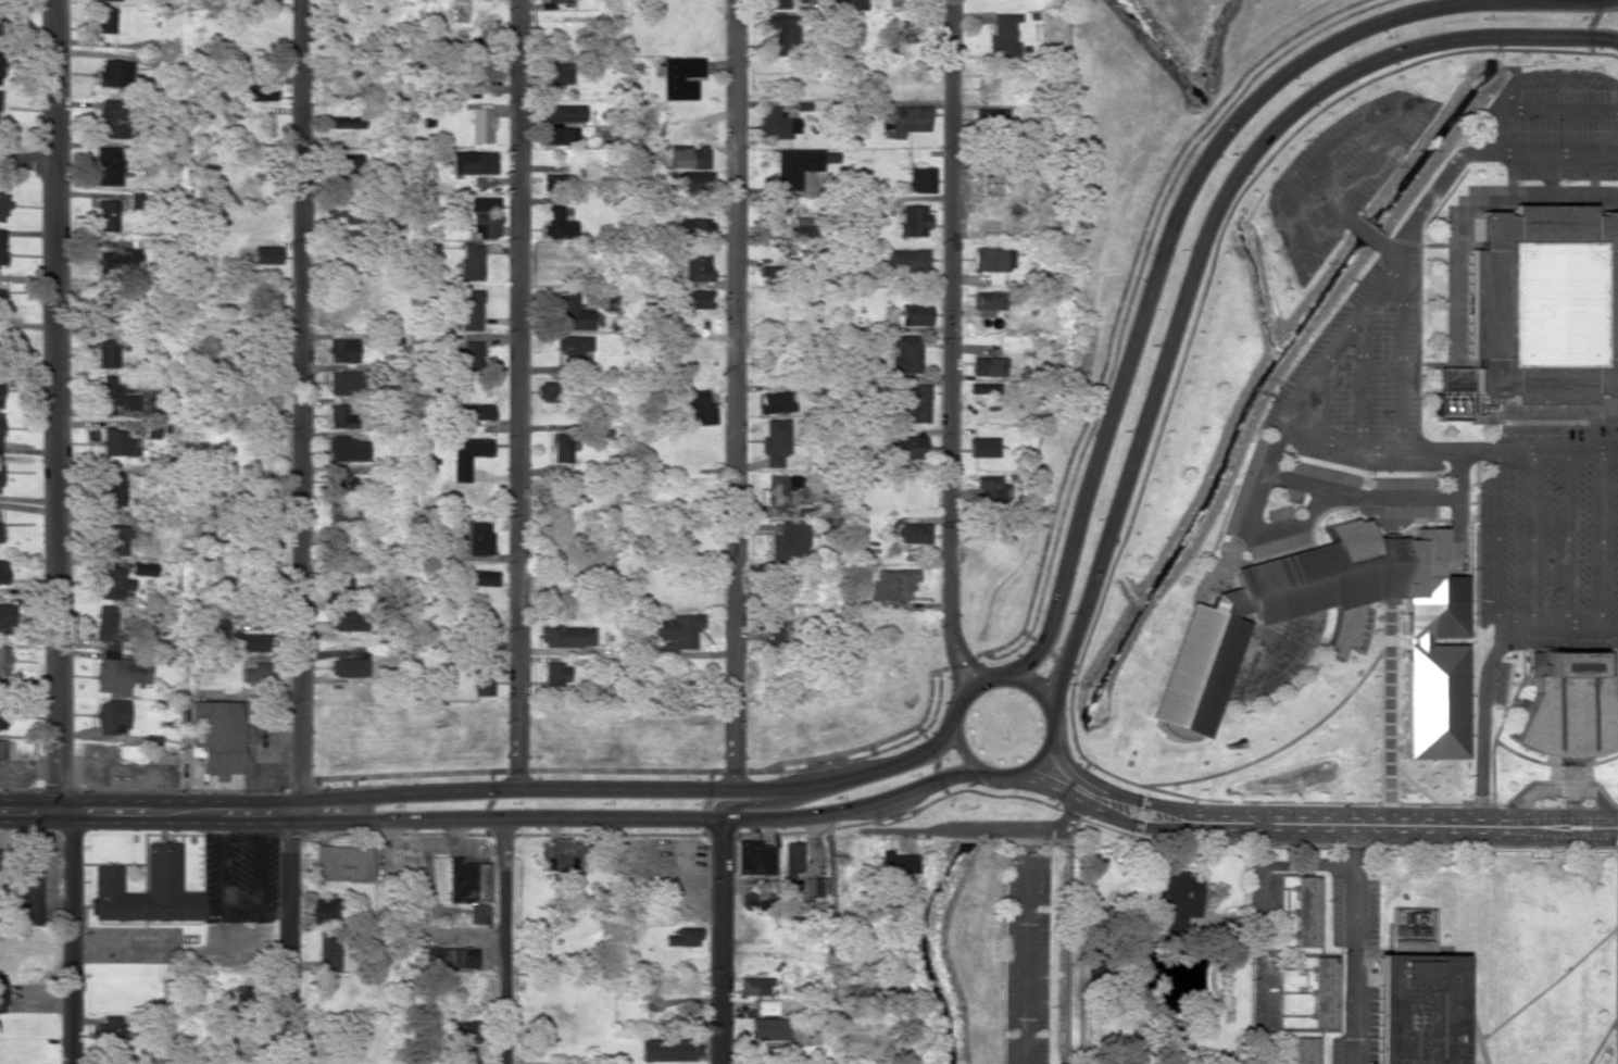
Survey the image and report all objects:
building: (110, 0)
building: (255, 1)
building: (552, 1)
building: (774, 3)
building: (854, 4)
building: (105, 20)
building: (1, 24)
river: (1498, 29)
building: (780, 34)
building: (1002, 35)
building: (0, 65)
building: (485, 68)
building: (114, 73)
building: (554, 73)
road: (1551, 75)
building: (680, 77)
building: (255, 92)
road: (1559, 111)
building: (564, 113)
building: (111, 118)
building: (907, 120)
building: (347, 122)
building: (775, 124)
building: (480, 125)
parking lot: (1563, 128)
road: (1491, 129)
building: (559, 135)
road: (1349, 136)
road: (1479, 151)
building: (693, 158)
road: (1372, 160)
road: (27, 161)
building: (349, 163)
building: (472, 163)
building: (108, 166)
building: (793, 166)
parking lot: (1342, 174)
building: (920, 179)
building: (555, 181)
building: (694, 181)
building: (990, 185)
road: (1326, 199)
road: (1182, 202)
building: (2, 203)
building: (484, 204)
building: (106, 215)
building: (912, 221)
building: (557, 223)
building: (486, 225)
building: (692, 228)
building: (801, 228)
road: (1367, 230)
road: (1205, 236)
road: (1296, 239)
building: (2, 246)
road: (1391, 249)
building: (266, 254)
building: (116, 259)
building: (906, 260)
building: (991, 260)
building: (469, 263)
building: (695, 267)
building: (767, 275)
road: (952, 297)
building: (2, 299)
building: (692, 299)
building: (988, 300)
building: (109, 308)
building: (471, 310)
building: (1538, 310)
building: (983, 312)
building: (572, 313)
building: (914, 314)
road: (1340, 334)
building: (572, 348)
building: (341, 350)
road: (1402, 350)
building: (108, 353)
building: (904, 353)
building: (467, 359)
building: (988, 366)
road: (1362, 374)
river: (1262, 375)
parking lot: (1363, 376)
building: (343, 383)
building: (984, 388)
building: (0, 392)
road: (518, 393)
building: (116, 395)
road: (737, 395)
building: (777, 402)
building: (915, 402)
road: (305, 405)
road: (57, 406)
building: (698, 409)
building: (475, 412)
building: (340, 417)
road: (1086, 418)
building: (0, 426)
building: (775, 441)
building: (118, 443)
building: (983, 447)
building: (561, 448)
building: (906, 448)
road: (1448, 448)
building: (347, 449)
building: (467, 455)
building: (0, 476)
building: (340, 483)
building: (780, 489)
building: (114, 490)
building: (990, 490)
road: (1360, 496)
building: (561, 497)
road: (1459, 502)
building: (346, 516)
road: (1245, 527)
building: (914, 533)
road: (1602, 536)
road: (1498, 537)
road: (1532, 537)
road: (1567, 537)
building: (477, 538)
building: (116, 540)
building: (787, 547)
building: (341, 548)
building: (142, 568)
building: (3, 572)
building: (482, 578)
building: (112, 583)
building: (893, 584)
building: (340, 587)
building: (554, 591)
building: (1305, 611)
building: (5, 616)
building: (347, 621)
building: (105, 623)
building: (484, 624)
road: (1559, 625)
building: (777, 626)
building: (678, 630)
building: (566, 636)
building: (237, 639)
road: (958, 640)
road: (951, 654)
building: (3, 661)
building: (348, 667)
building: (120, 674)
building: (250, 674)
building: (555, 674)
road: (1008, 677)
building: (482, 685)
building: (1568, 711)
building: (112, 716)
road: (1482, 719)
road: (955, 723)
building: (215, 737)
building: (1, 749)
building: (129, 753)
road: (965, 755)
road: (1038, 760)
road: (539, 769)
road: (995, 773)
river: (1026, 783)
road: (640, 788)
road: (491, 794)
road: (708, 794)
road: (762, 803)
road: (151, 813)
road: (648, 817)
road: (1316, 817)
road: (978, 829)
road: (1306, 830)
road: (1438, 846)
building: (754, 858)
building: (342, 863)
building: (898, 864)
road: (1307, 865)
building: (790, 867)
building: (27, 881)
building: (814, 887)
building: (468, 888)
building: (147, 890)
building: (755, 898)
building: (1170, 899)
building: (323, 911)
building: (1307, 911)
building: (683, 937)
road: (62, 938)
road: (289, 938)
road: (830, 939)
road: (1255, 939)
road: (720, 940)
road: (505, 941)
road: (1357, 941)
road: (1028, 947)
river: (921, 948)
building: (329, 950)
road: (1617, 955)
building: (450, 957)
parking lot: (1027, 957)
parking lot: (1354, 962)
parking lot: (1272, 969)
building: (754, 986)
building: (1, 992)
building: (1325, 992)
building: (242, 997)
building: (1414, 1005)
building: (766, 1007)
building: (113, 1029)
building: (768, 1029)
building: (464, 1031)
building: (666, 1050)
building: (1305, 1051)

